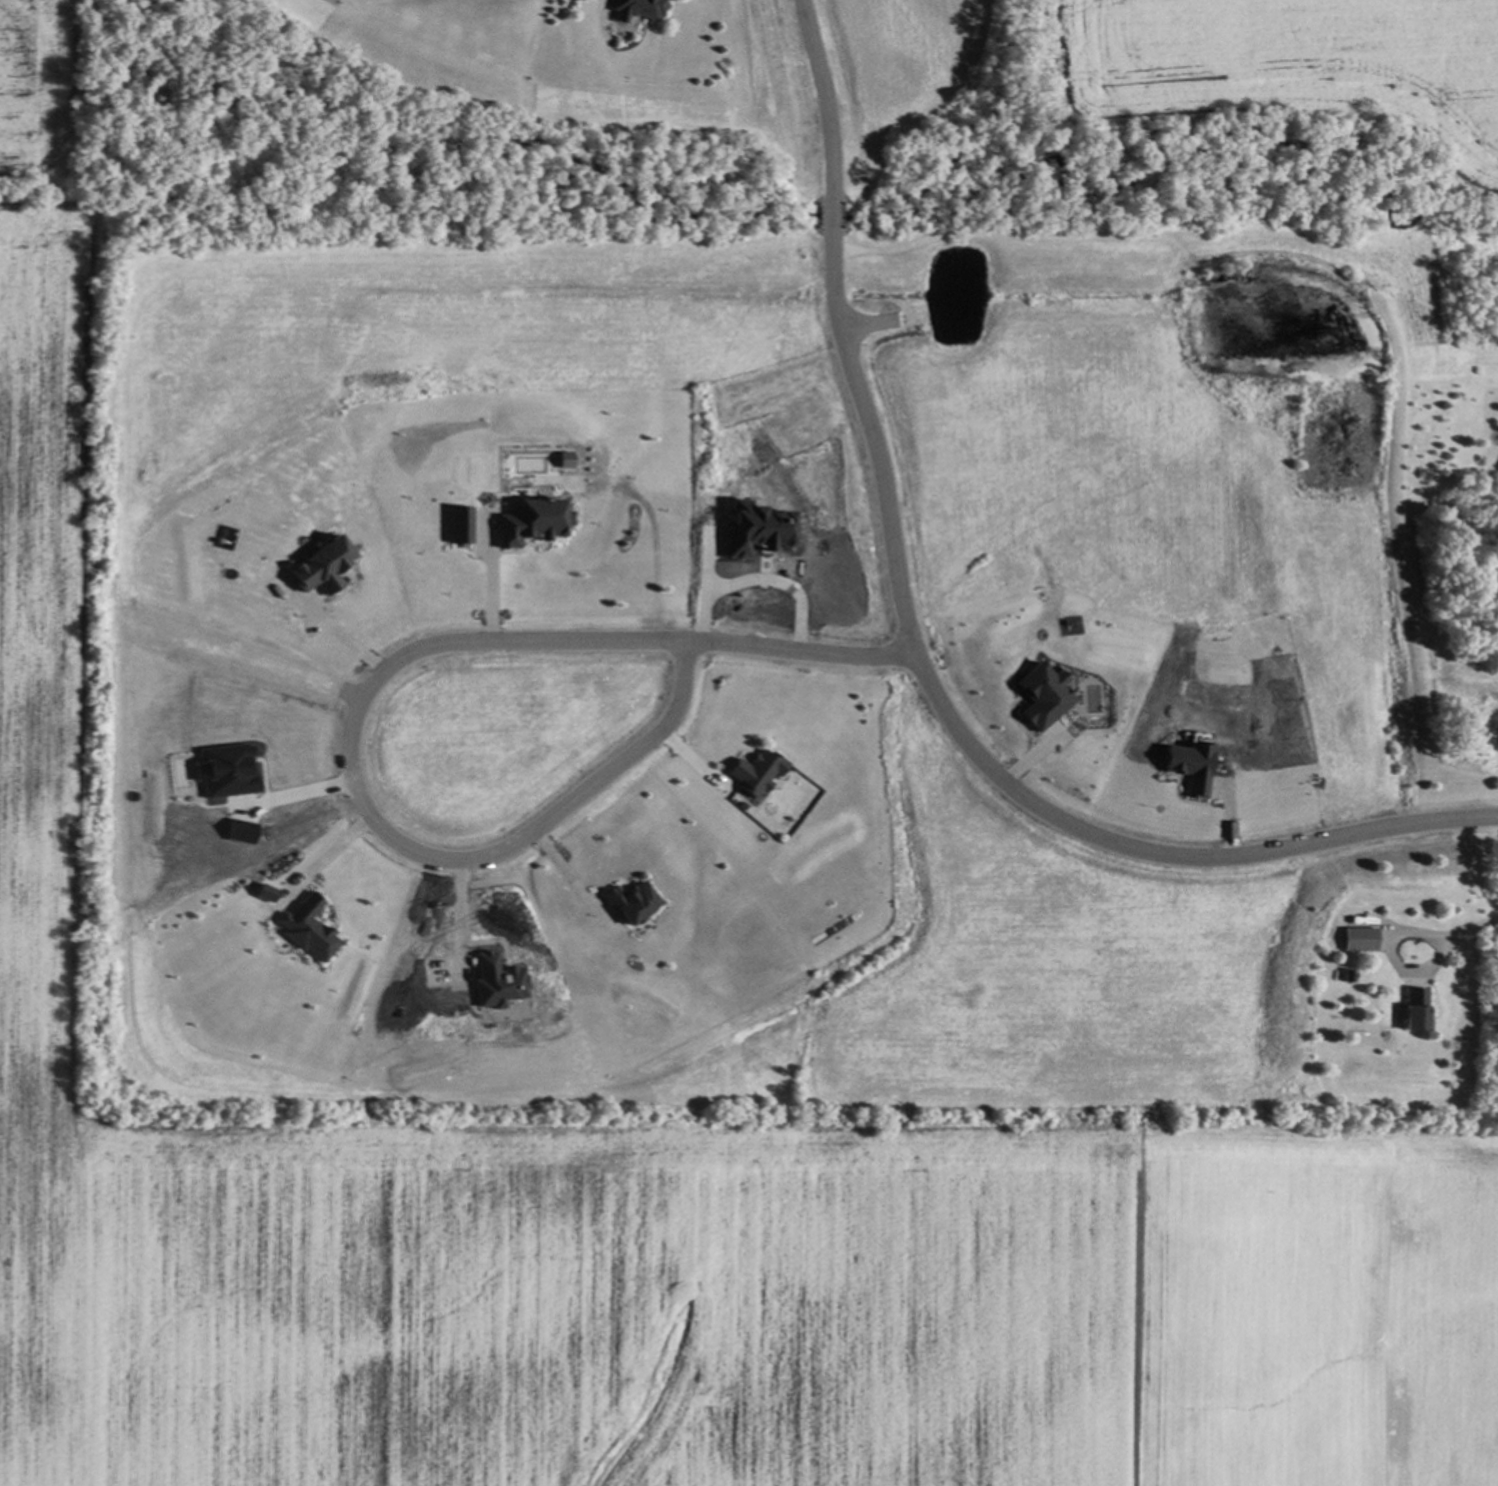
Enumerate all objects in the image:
building: (636, 9)
crop: (1282, 61)
building: (563, 459)
building: (532, 520)
building: (458, 524)
building: (753, 528)
building: (319, 566)
road: (491, 574)
road: (781, 580)
road: (704, 586)
road: (339, 634)
road: (917, 656)
road: (364, 695)
building: (1041, 695)
building: (1188, 766)
building: (225, 770)
building: (754, 771)
road: (284, 797)
road: (329, 855)
road: (565, 872)
building: (630, 901)
road: (462, 919)
building: (306, 928)
road: (1466, 932)
building: (1358, 938)
building: (495, 980)
building: (1415, 1011)
crop: (723, 1185)

